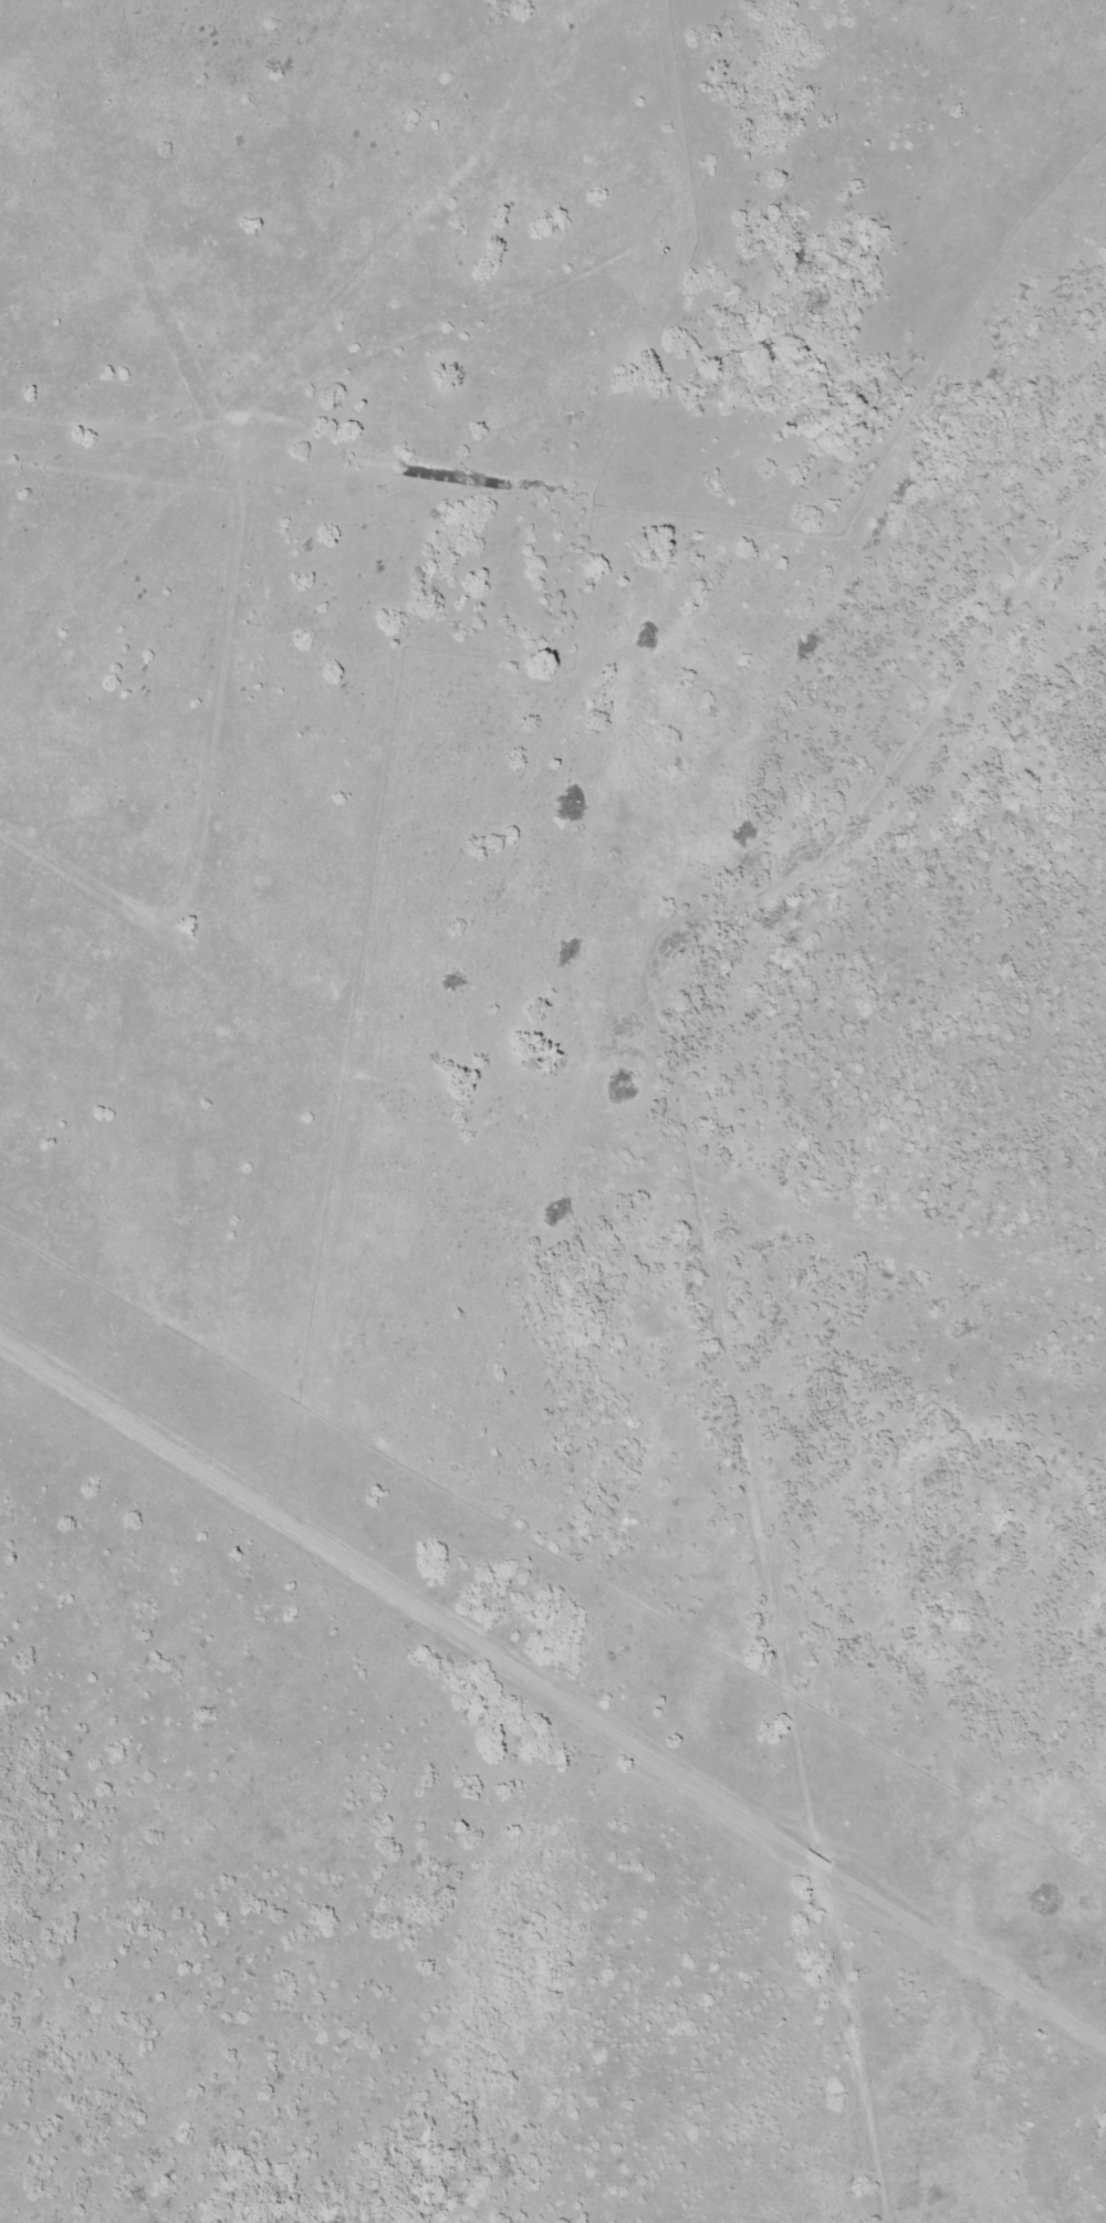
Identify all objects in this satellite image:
road: (556, 1673)

